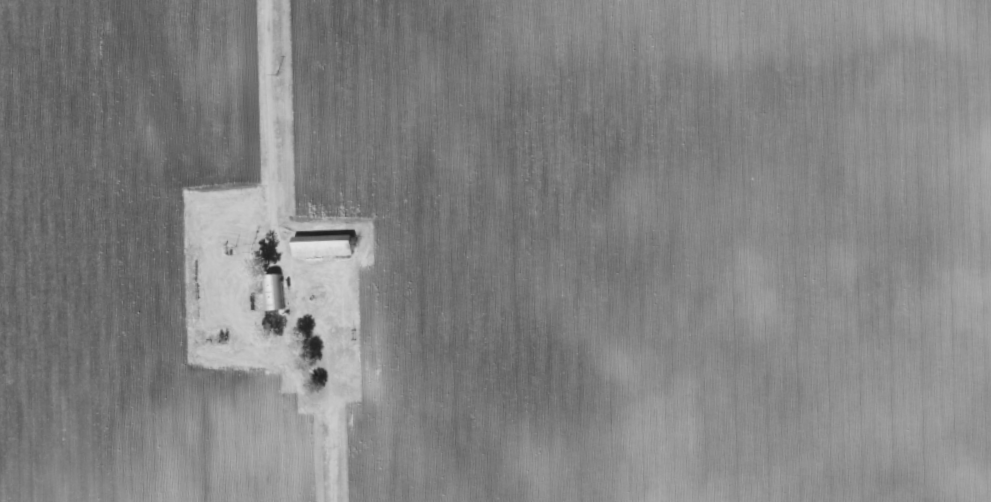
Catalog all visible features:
road: (266, 131)
building: (314, 246)
building: (266, 292)

